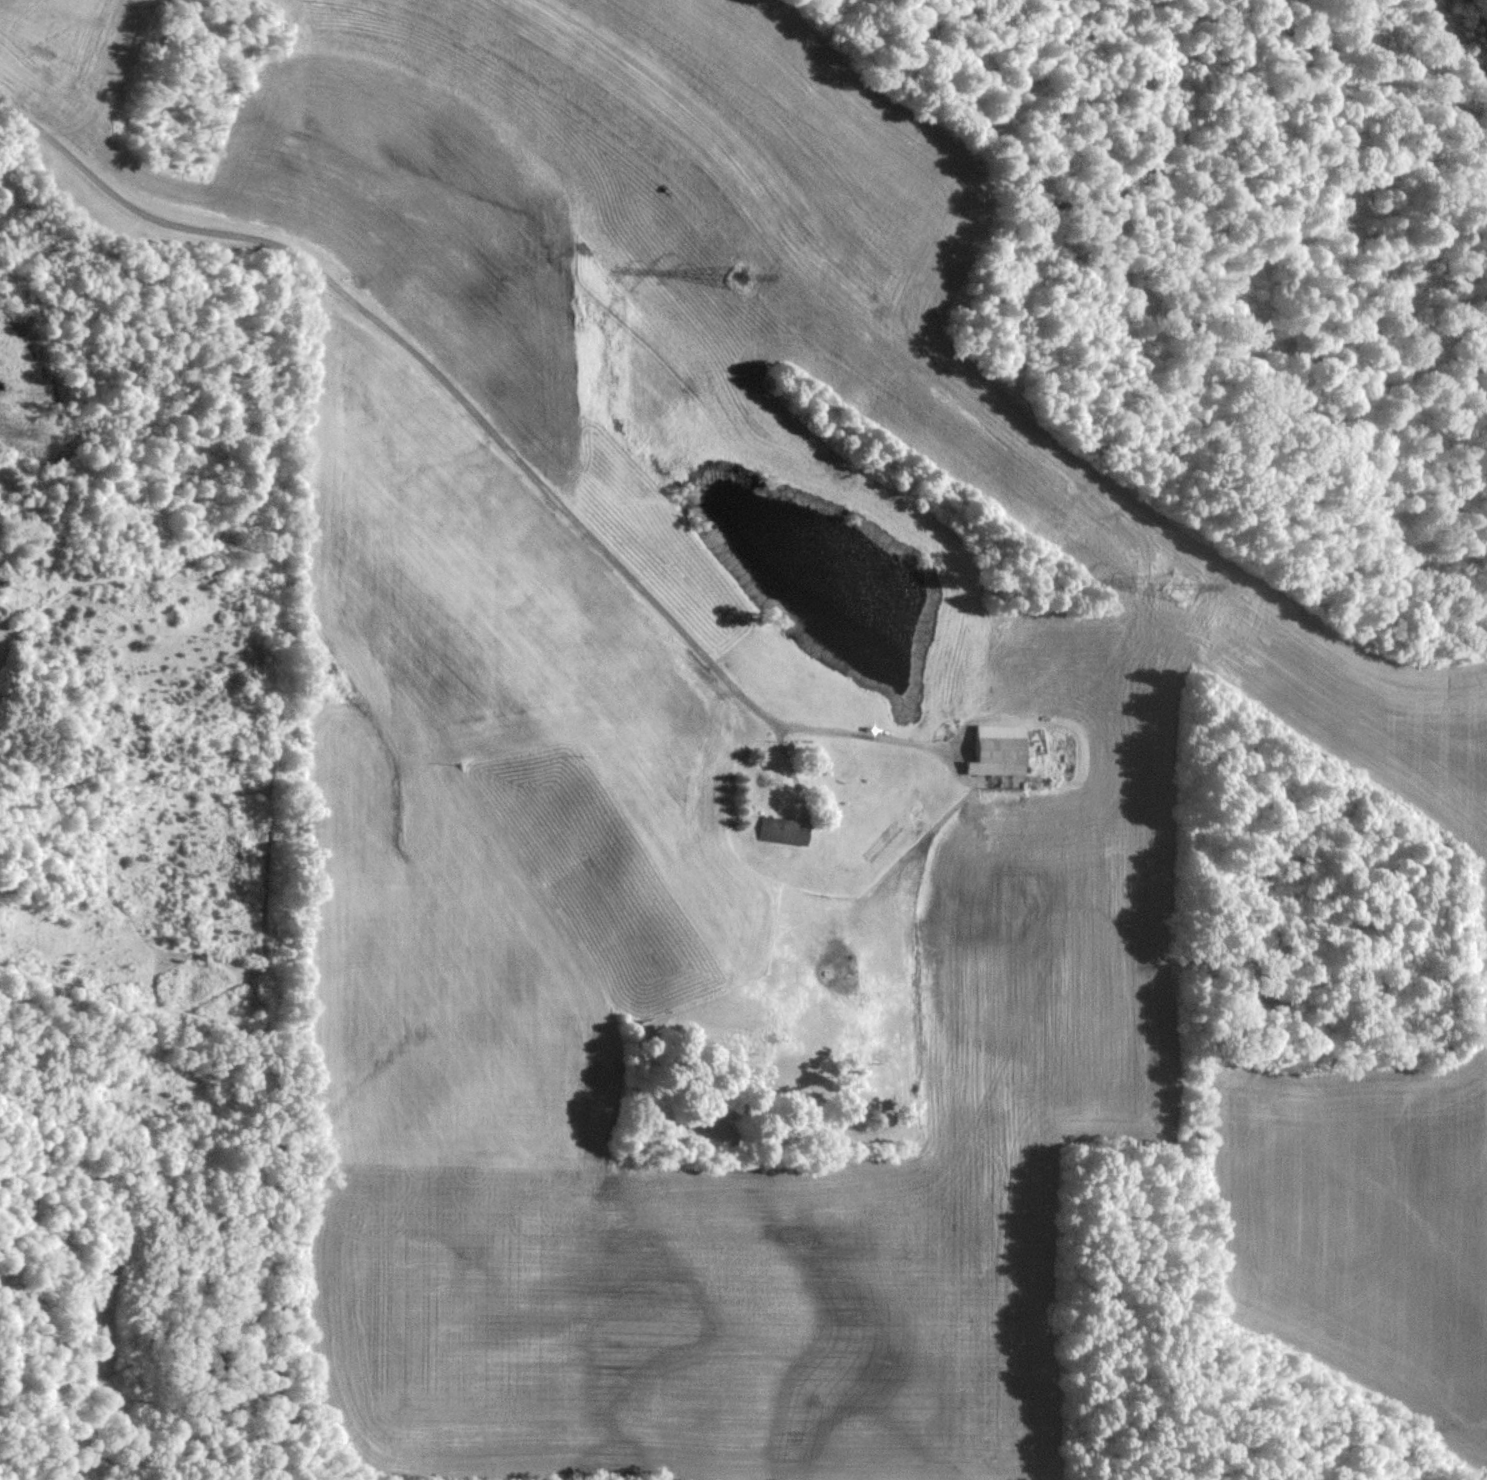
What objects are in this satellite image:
power tower: (740, 279)
road: (489, 426)
power tower: (1178, 590)
building: (997, 756)
building: (782, 831)

